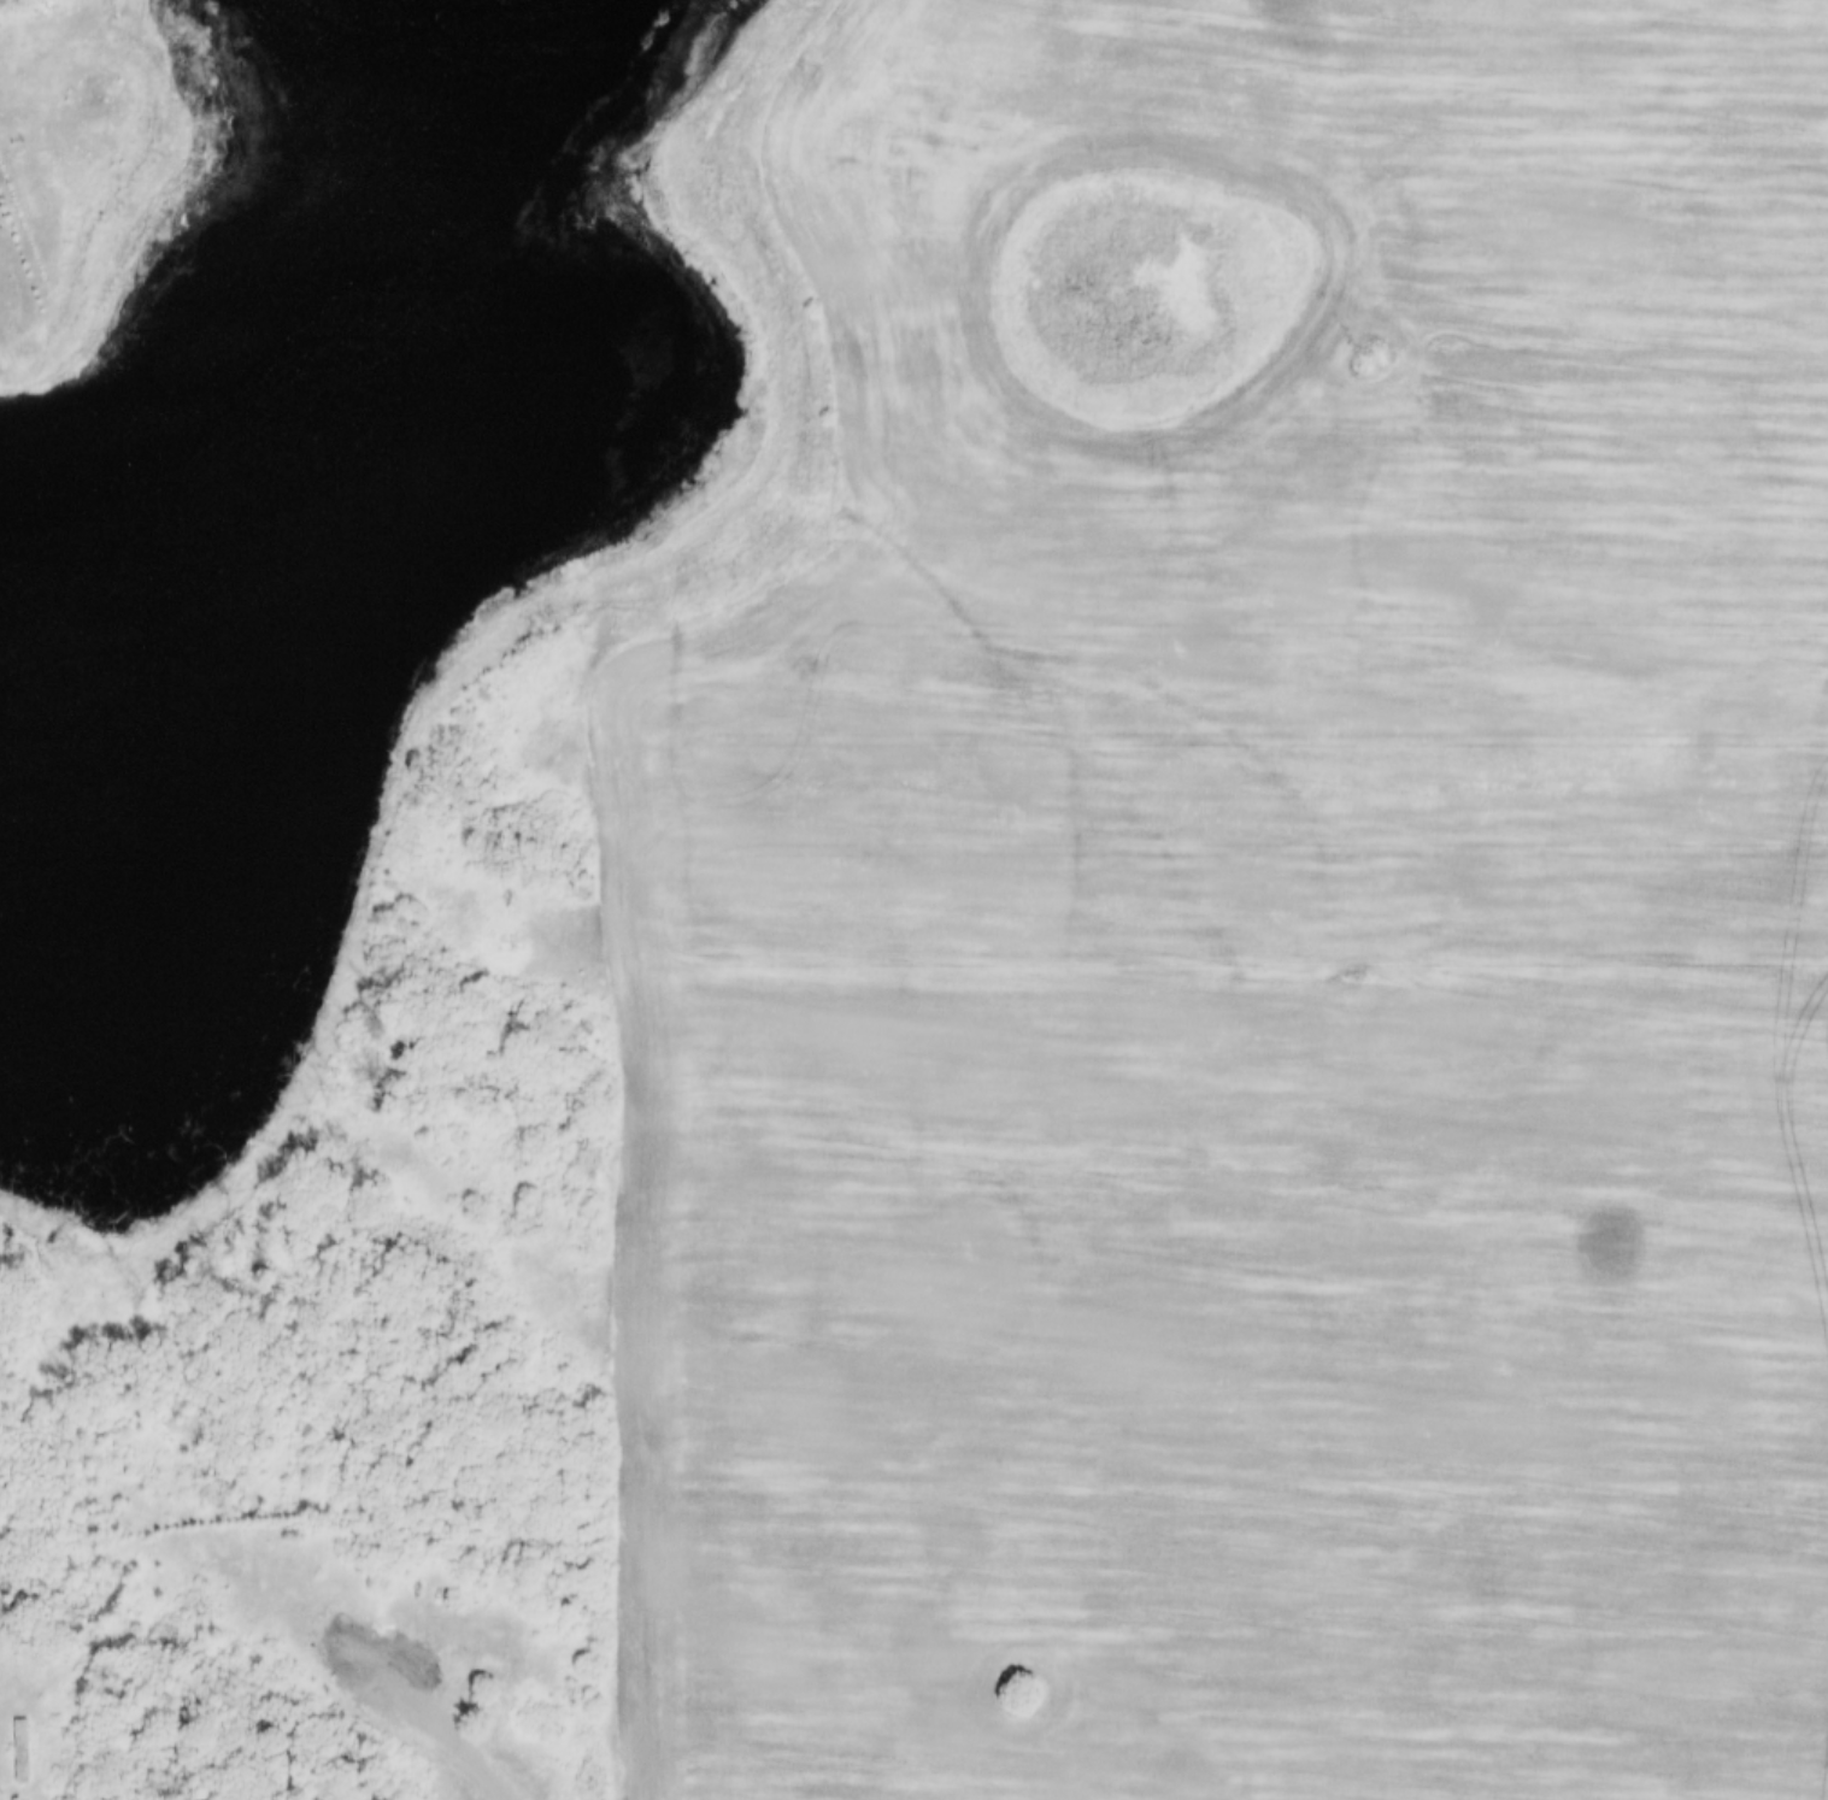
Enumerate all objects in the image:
building: (375, 1648)
road: (455, 1740)

